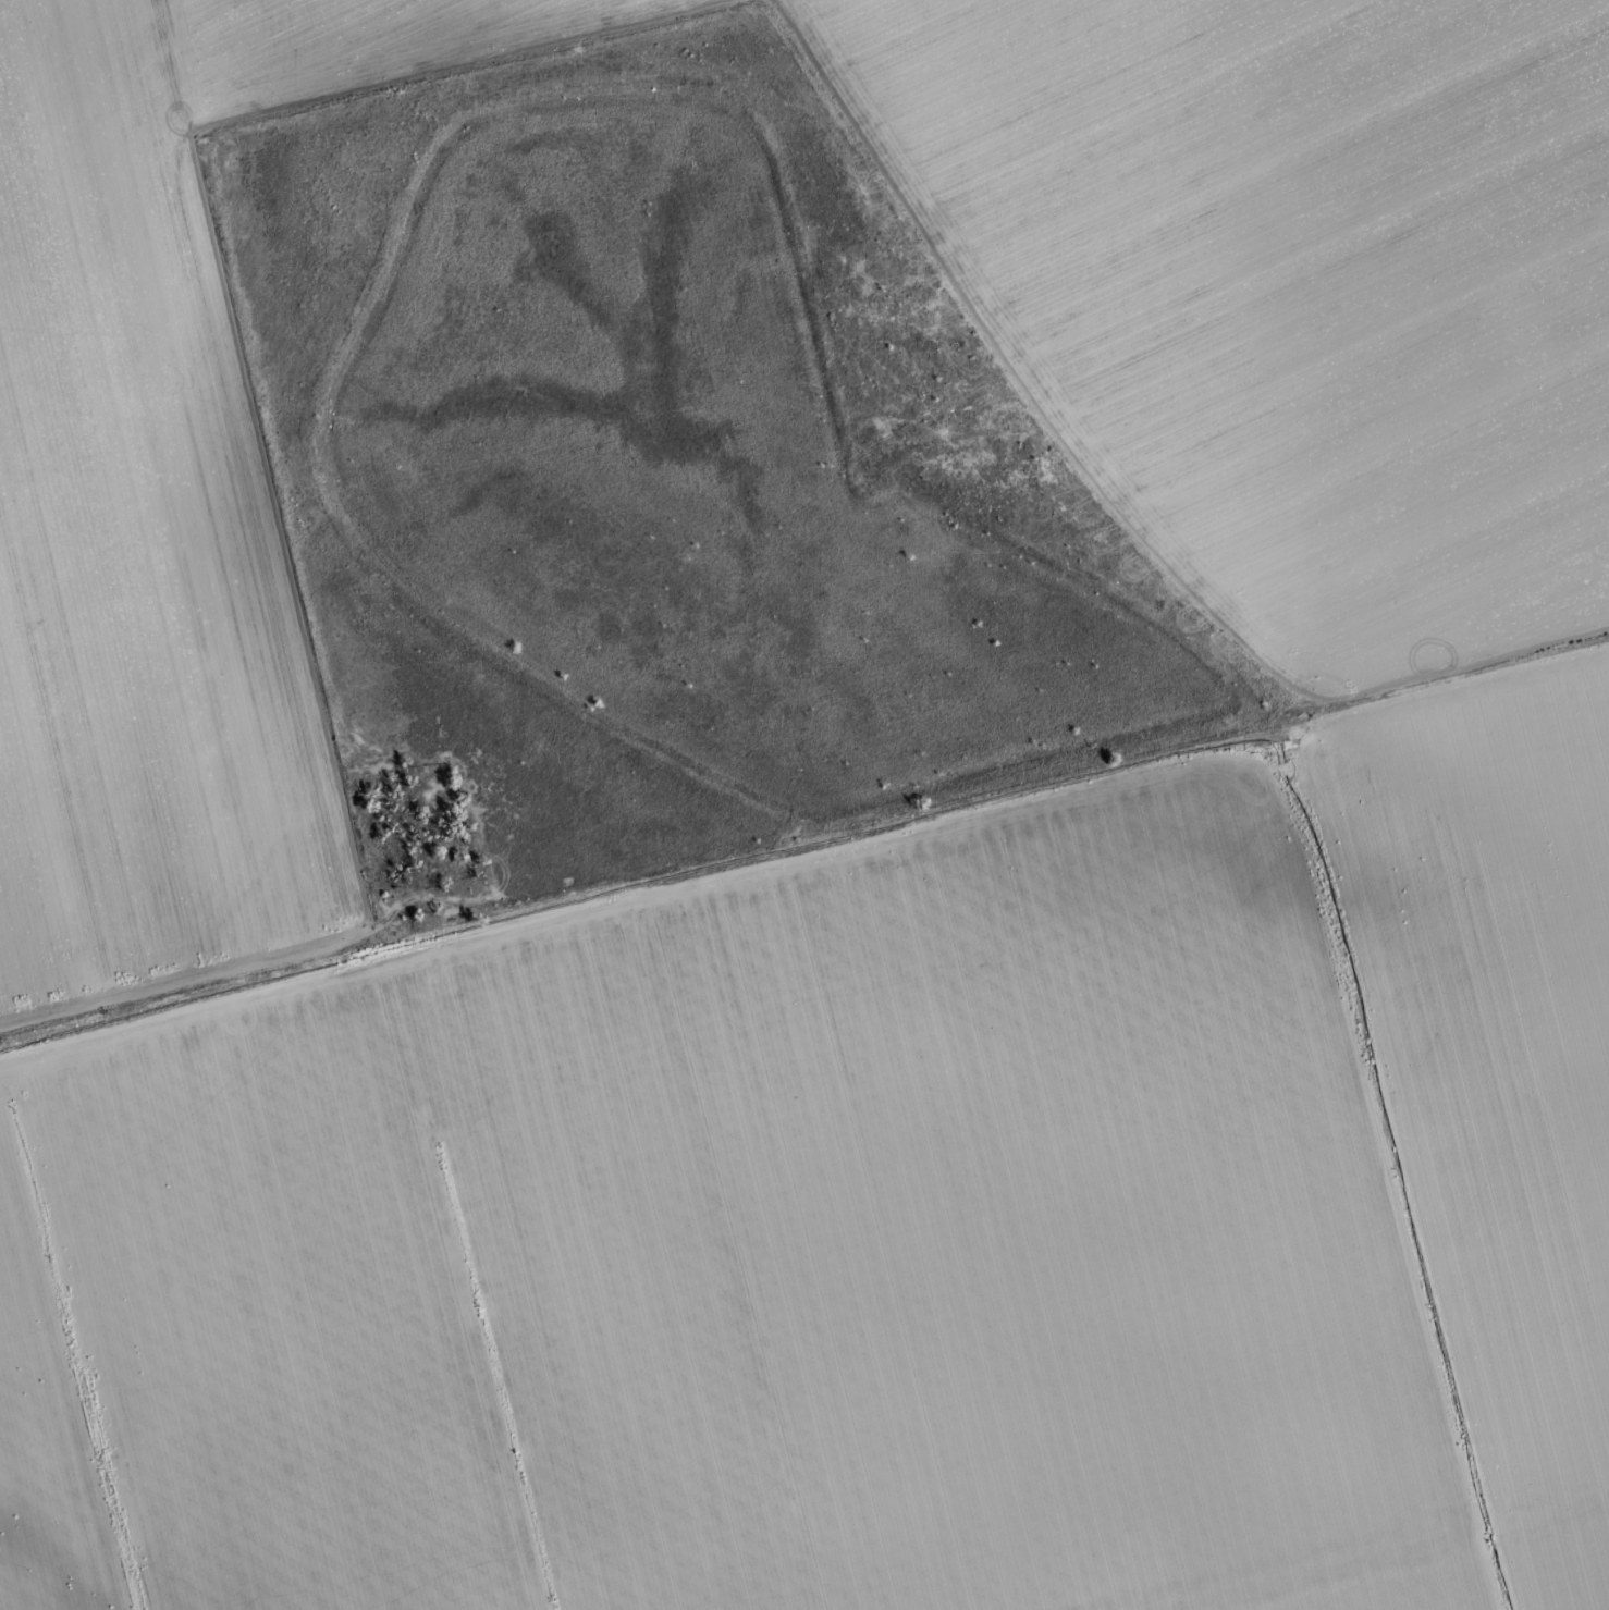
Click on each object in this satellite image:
building: (457, 852)

